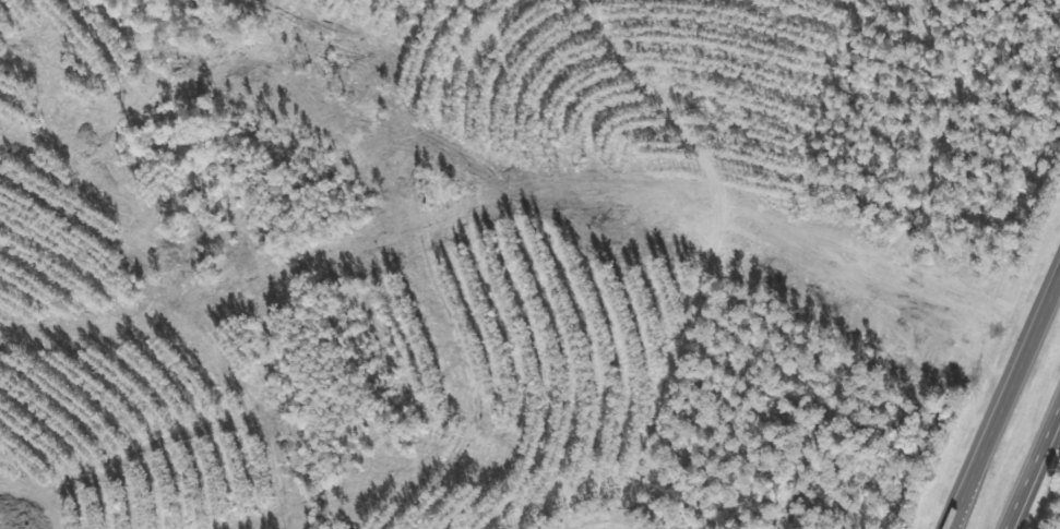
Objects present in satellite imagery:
road: (1000, 390)
road: (1032, 465)

